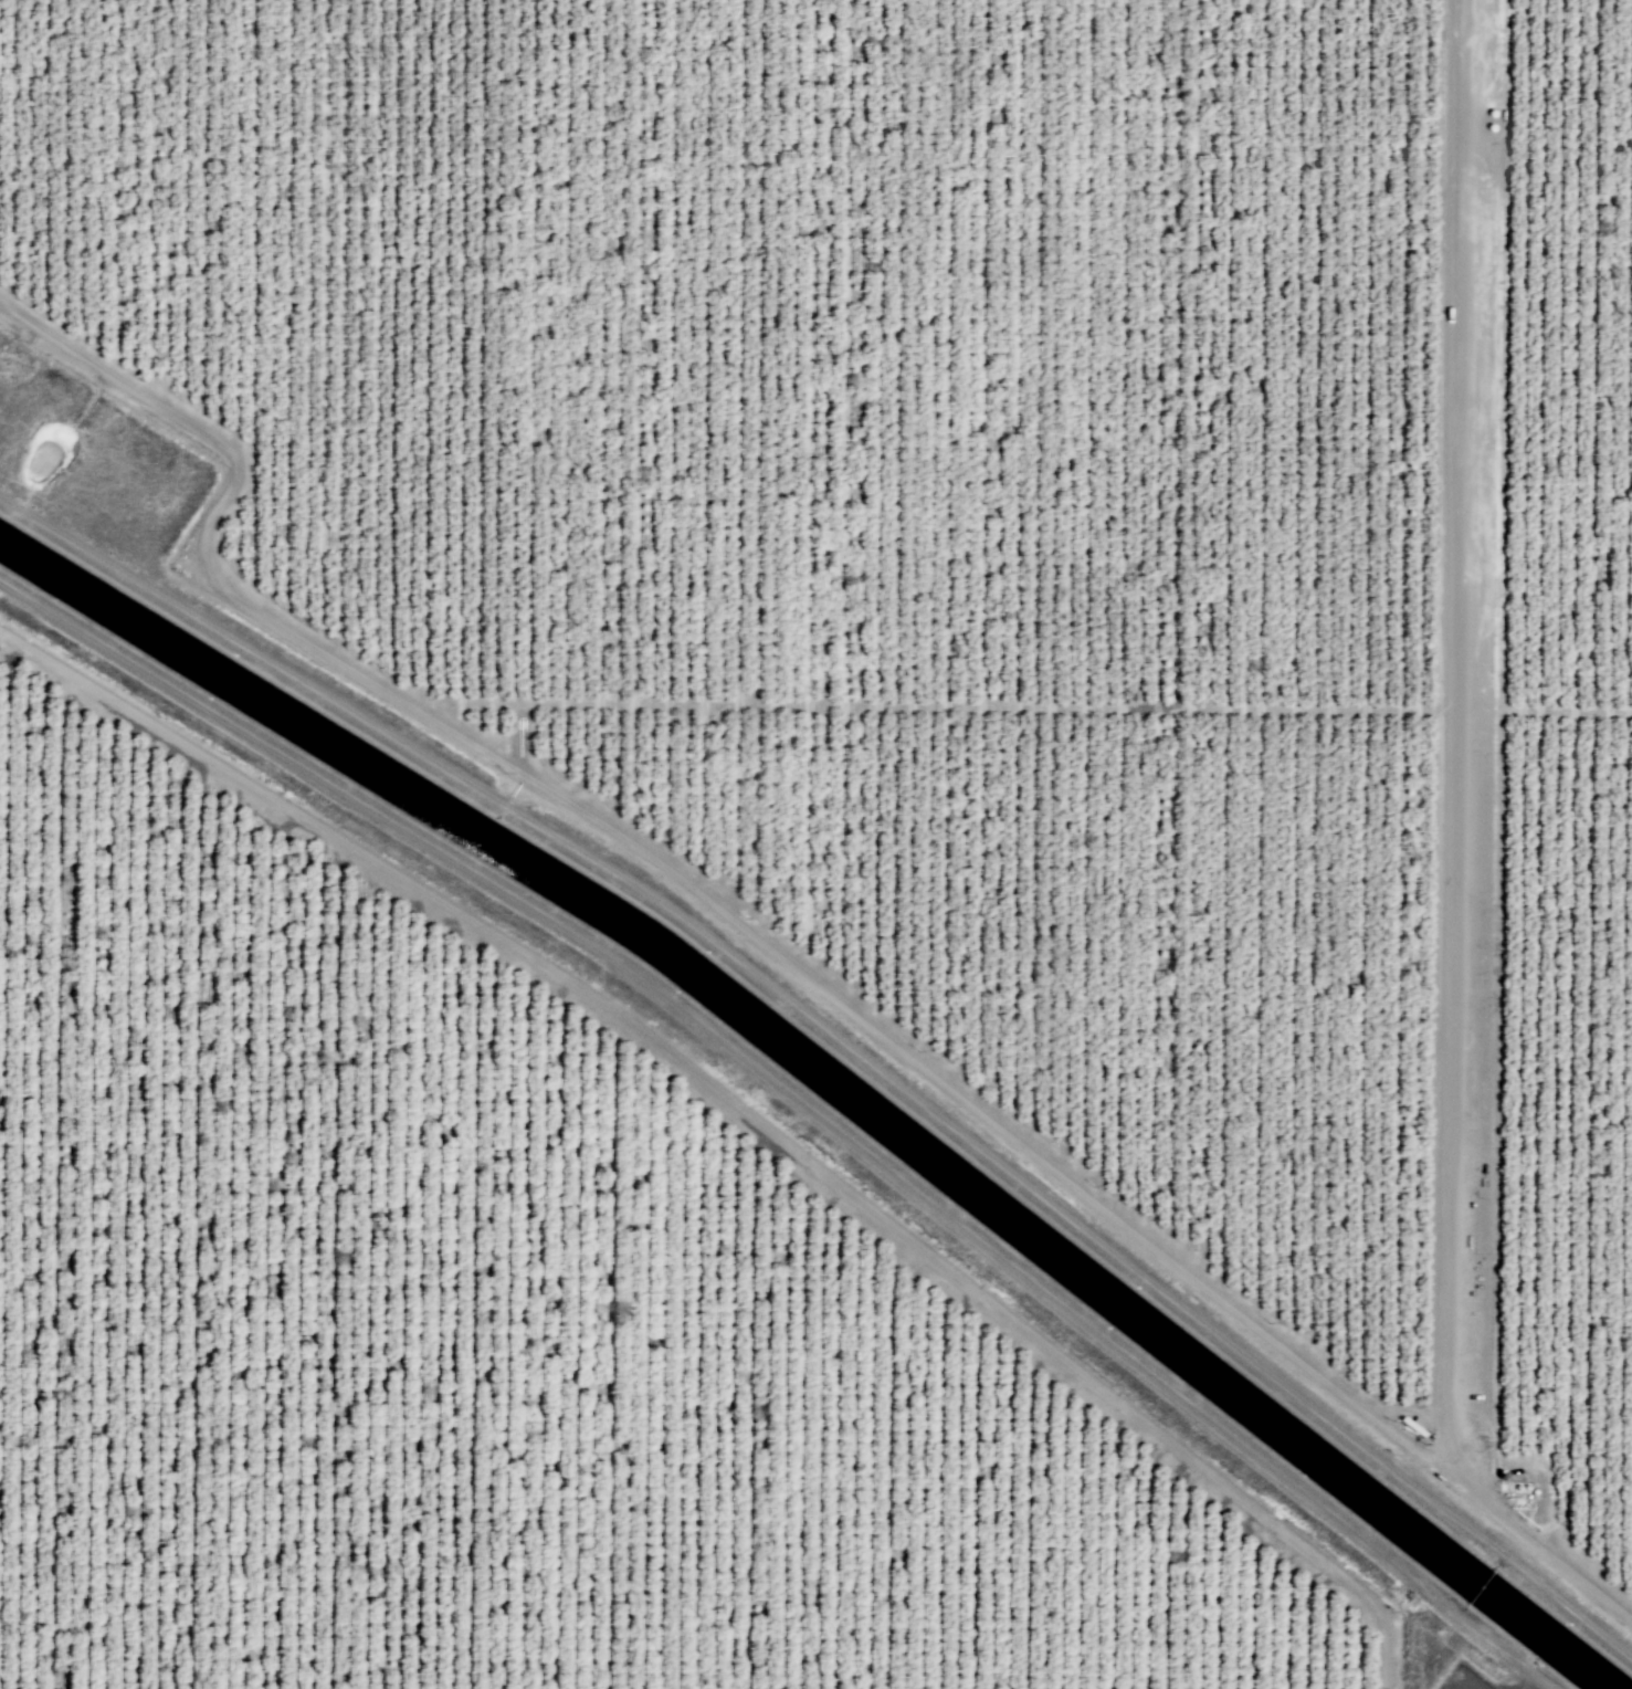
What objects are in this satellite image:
road: (939, 705)
road: (1567, 710)
road: (1459, 732)
road: (525, 737)
road: (1501, 785)
road: (771, 952)
road: (741, 1111)
road: (1210, 1425)
road: (1623, 1603)

